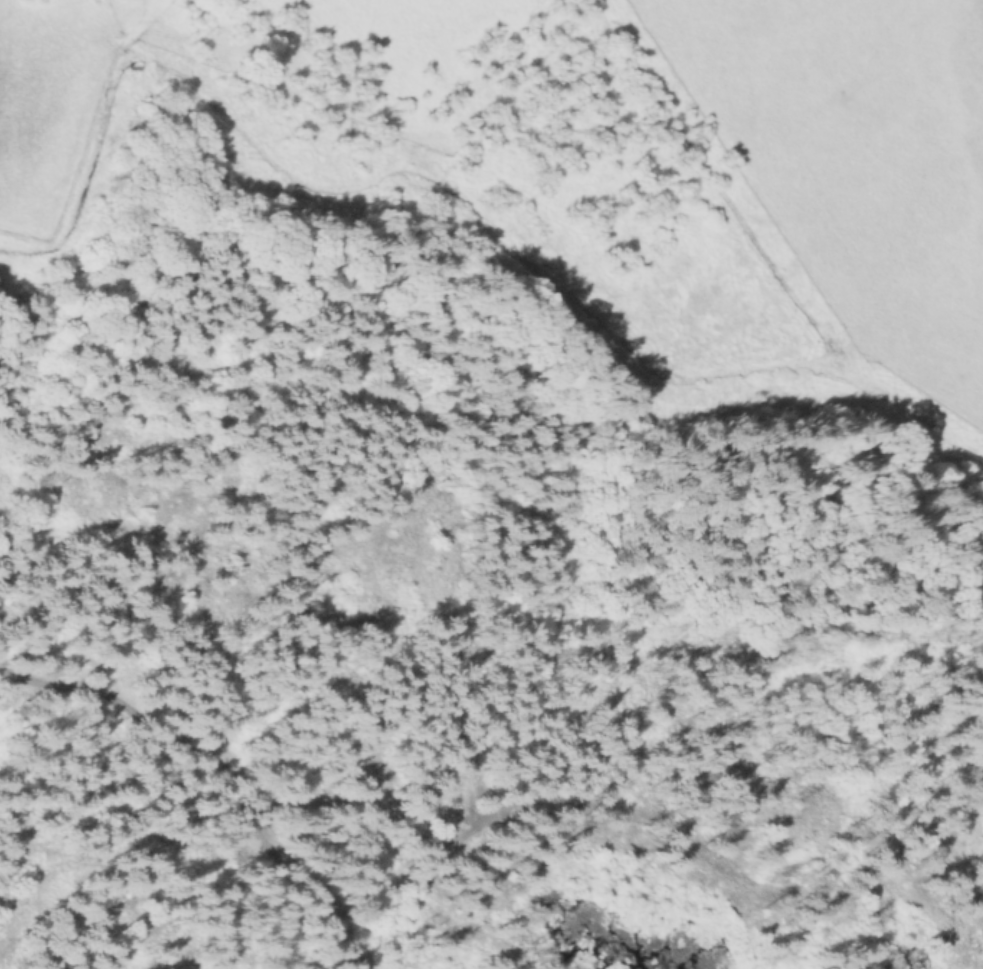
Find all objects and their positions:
road: (226, 761)

